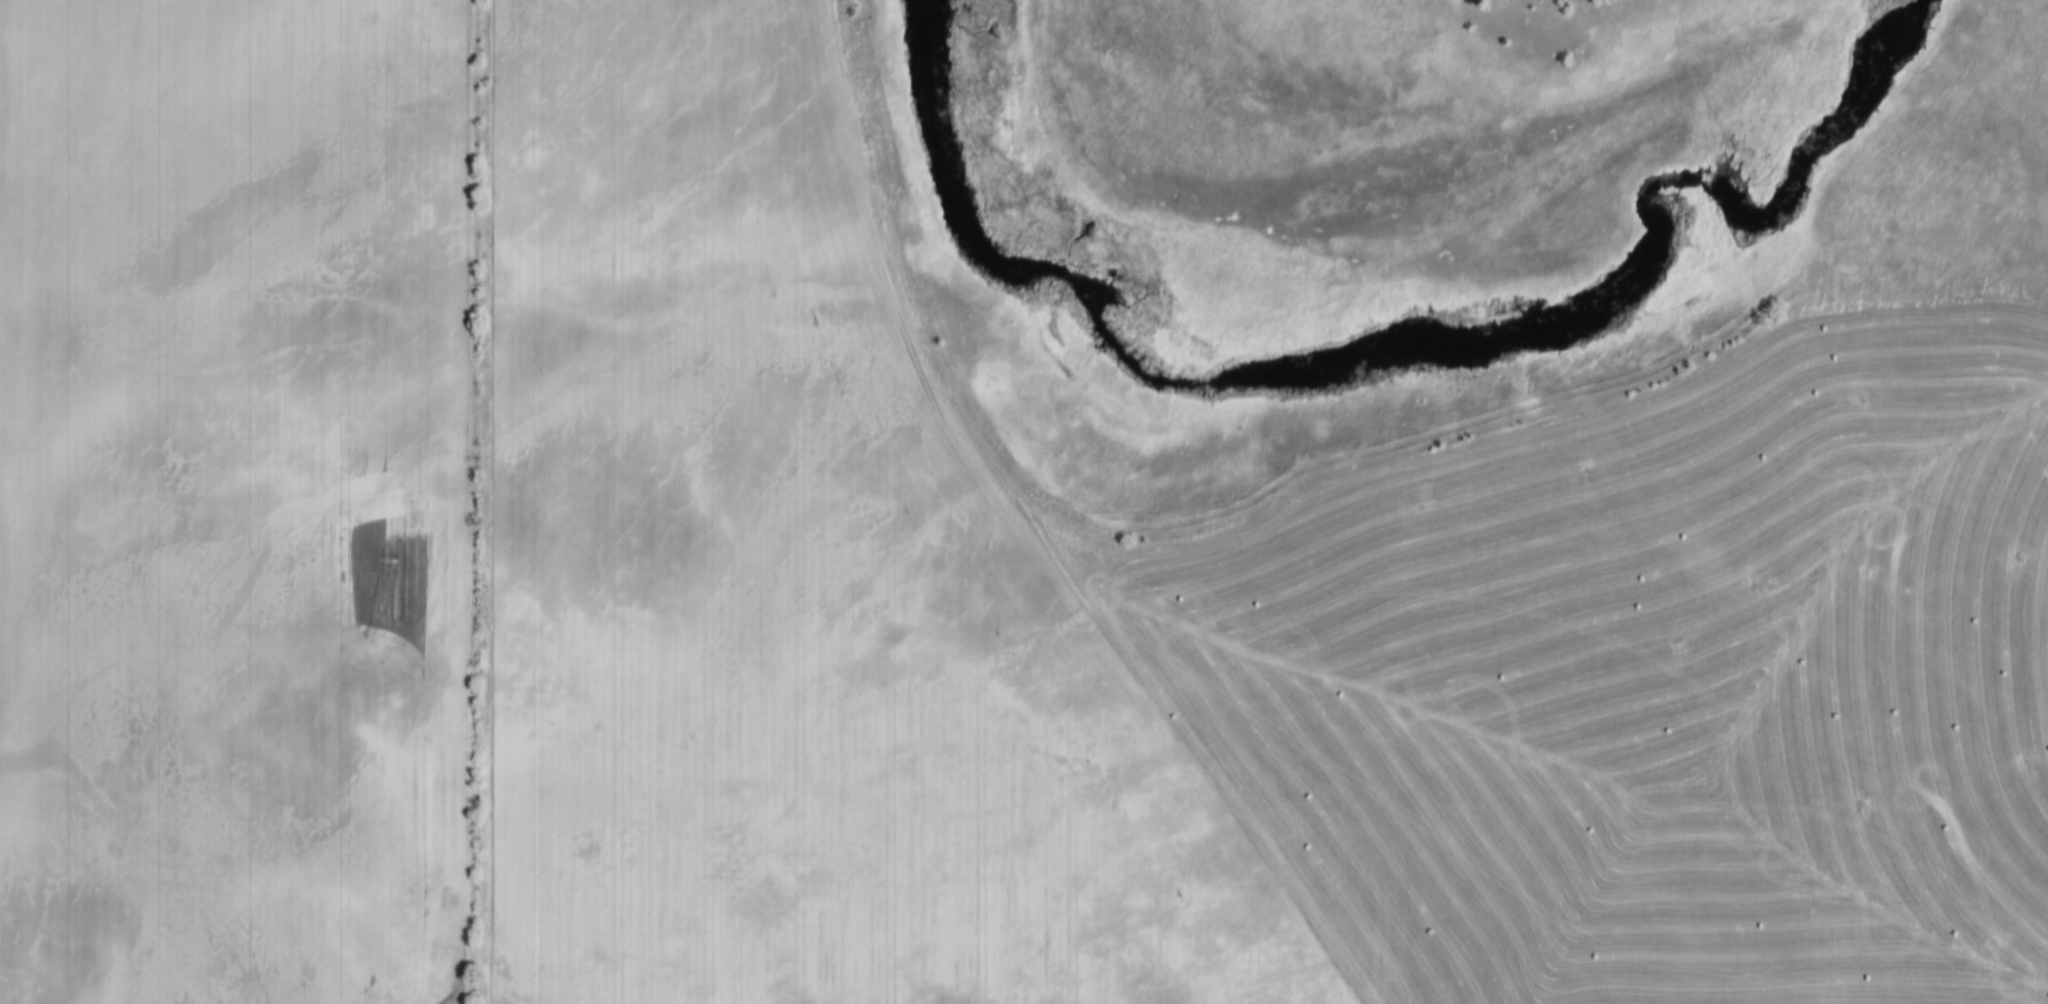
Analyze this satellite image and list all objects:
road: (1018, 532)

